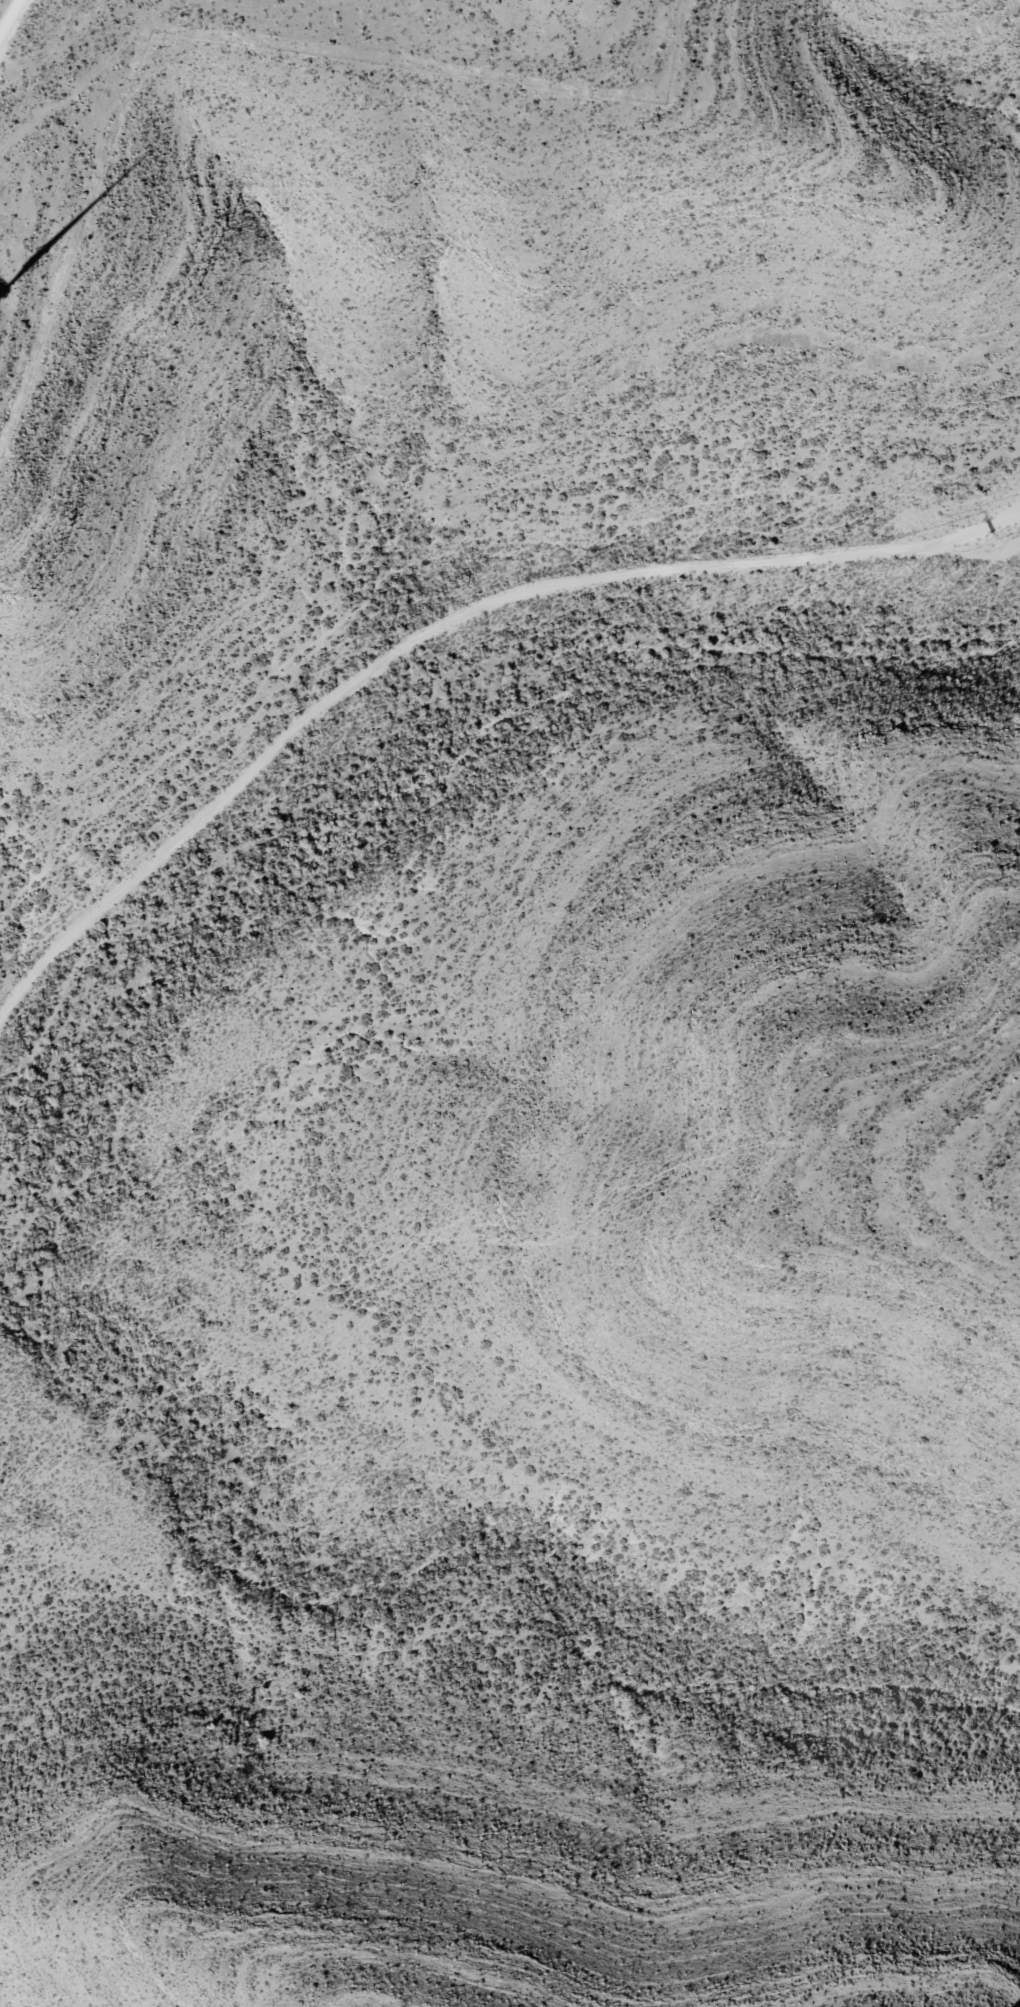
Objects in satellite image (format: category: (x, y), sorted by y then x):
road: (443, 650)

